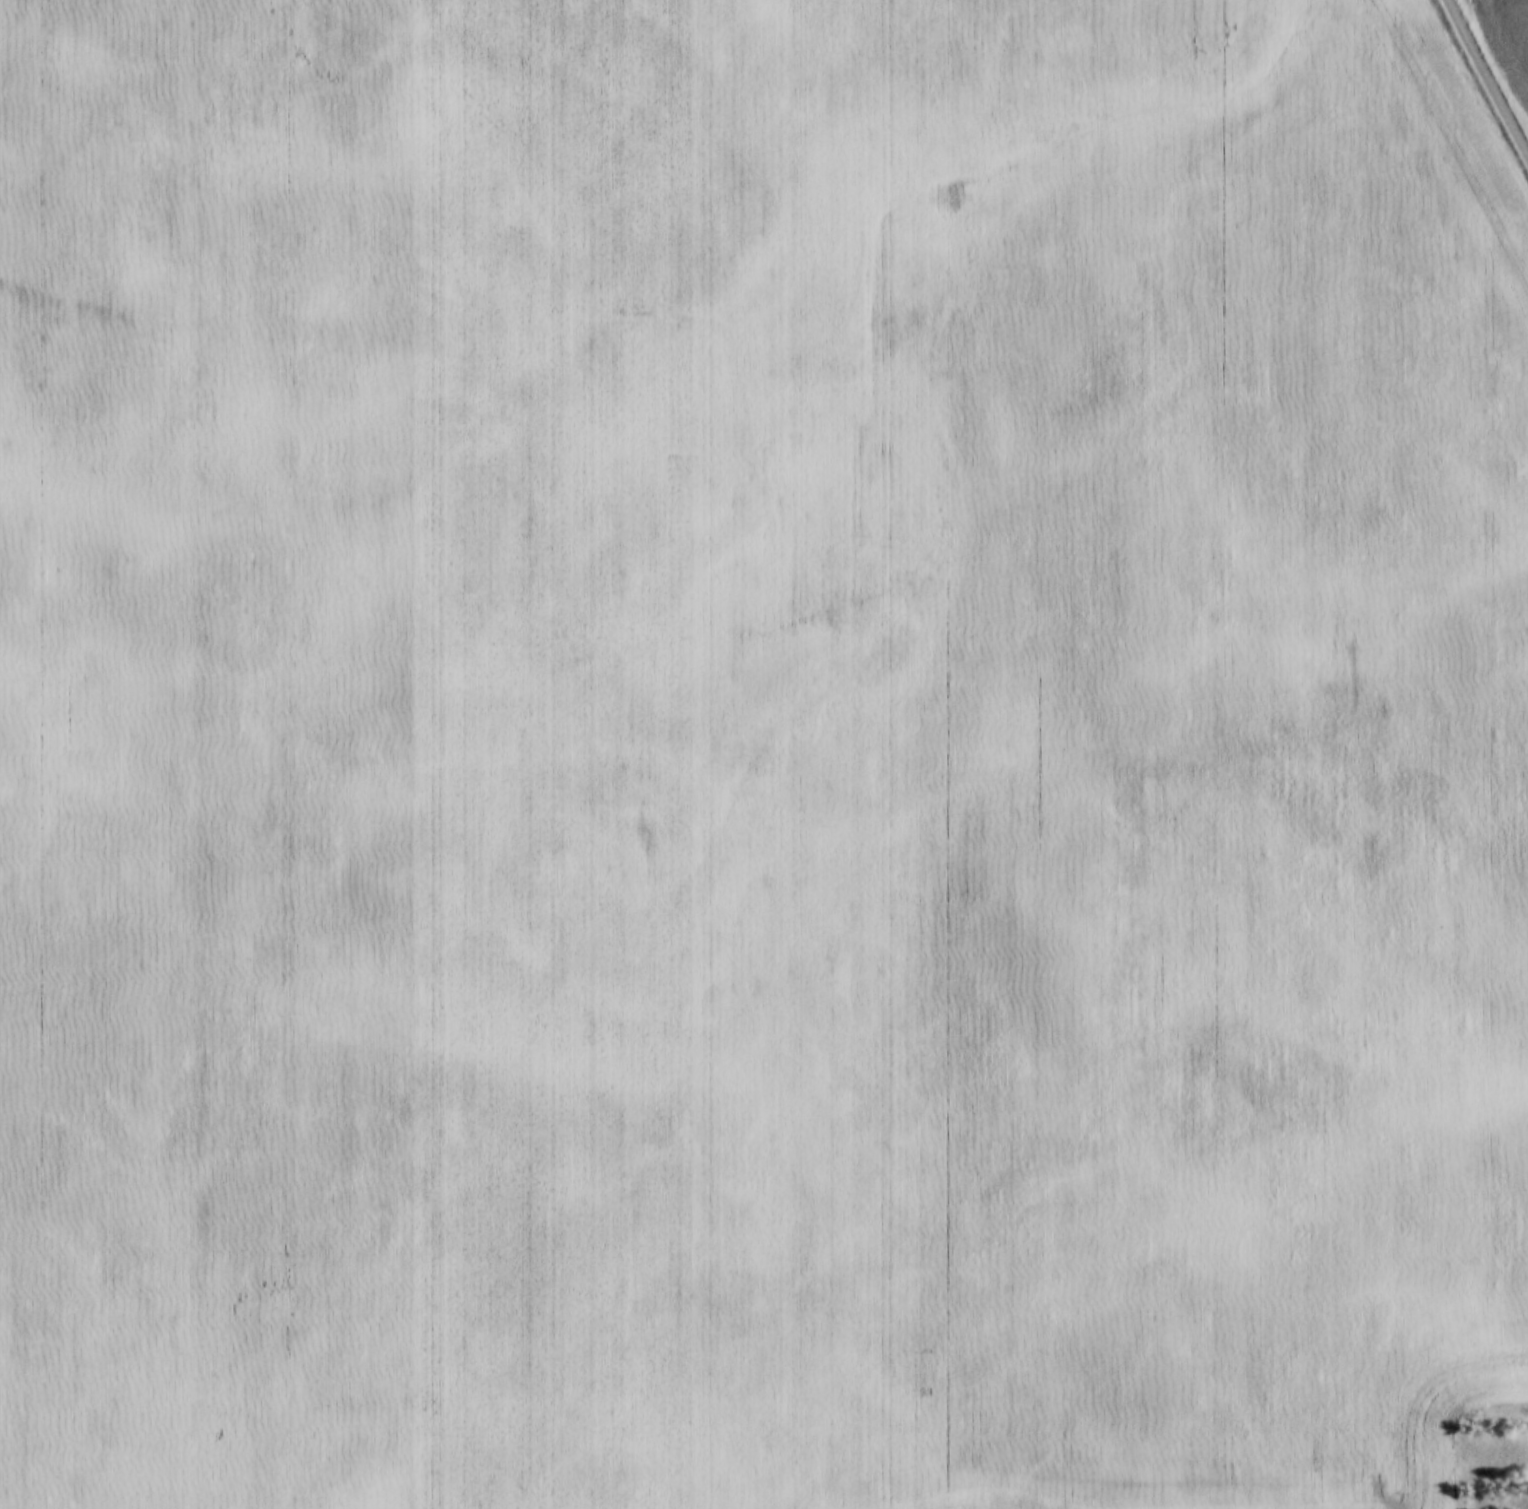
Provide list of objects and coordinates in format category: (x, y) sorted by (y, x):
road: (1486, 80)

